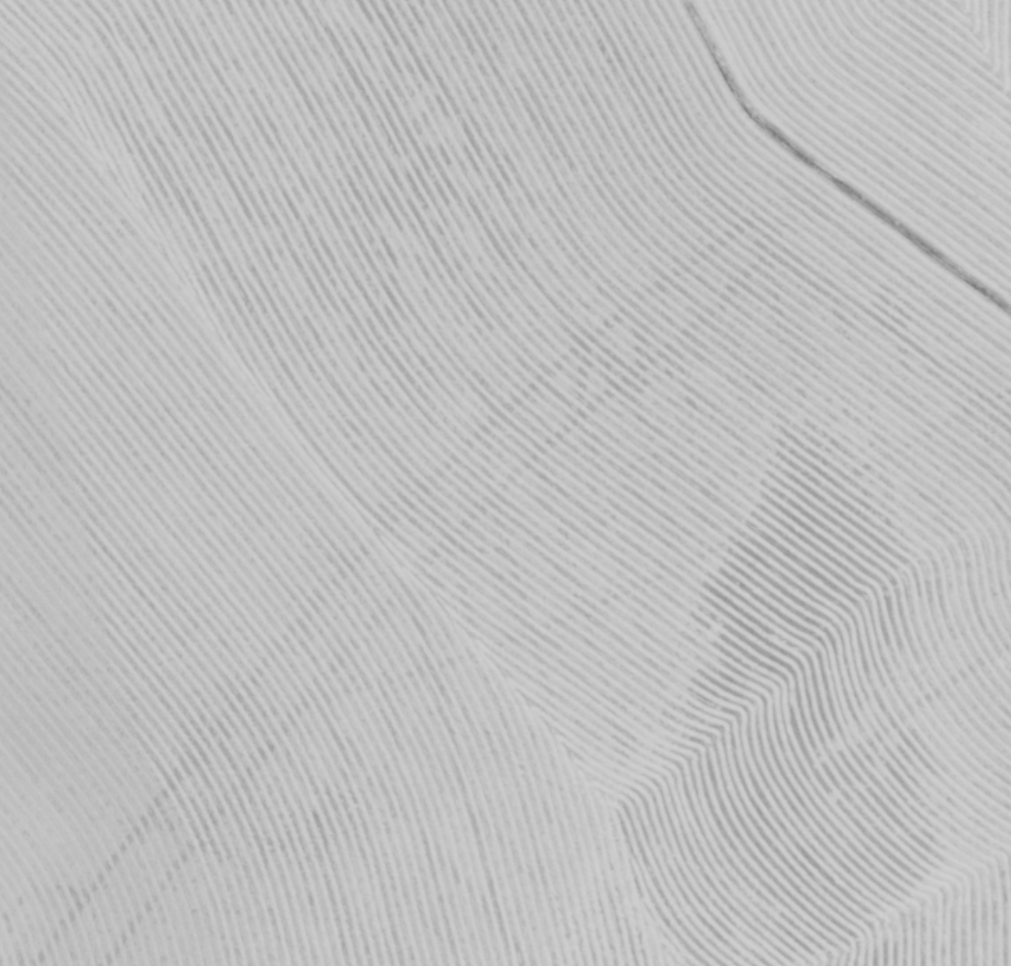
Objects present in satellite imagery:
crop: (505, 483)

